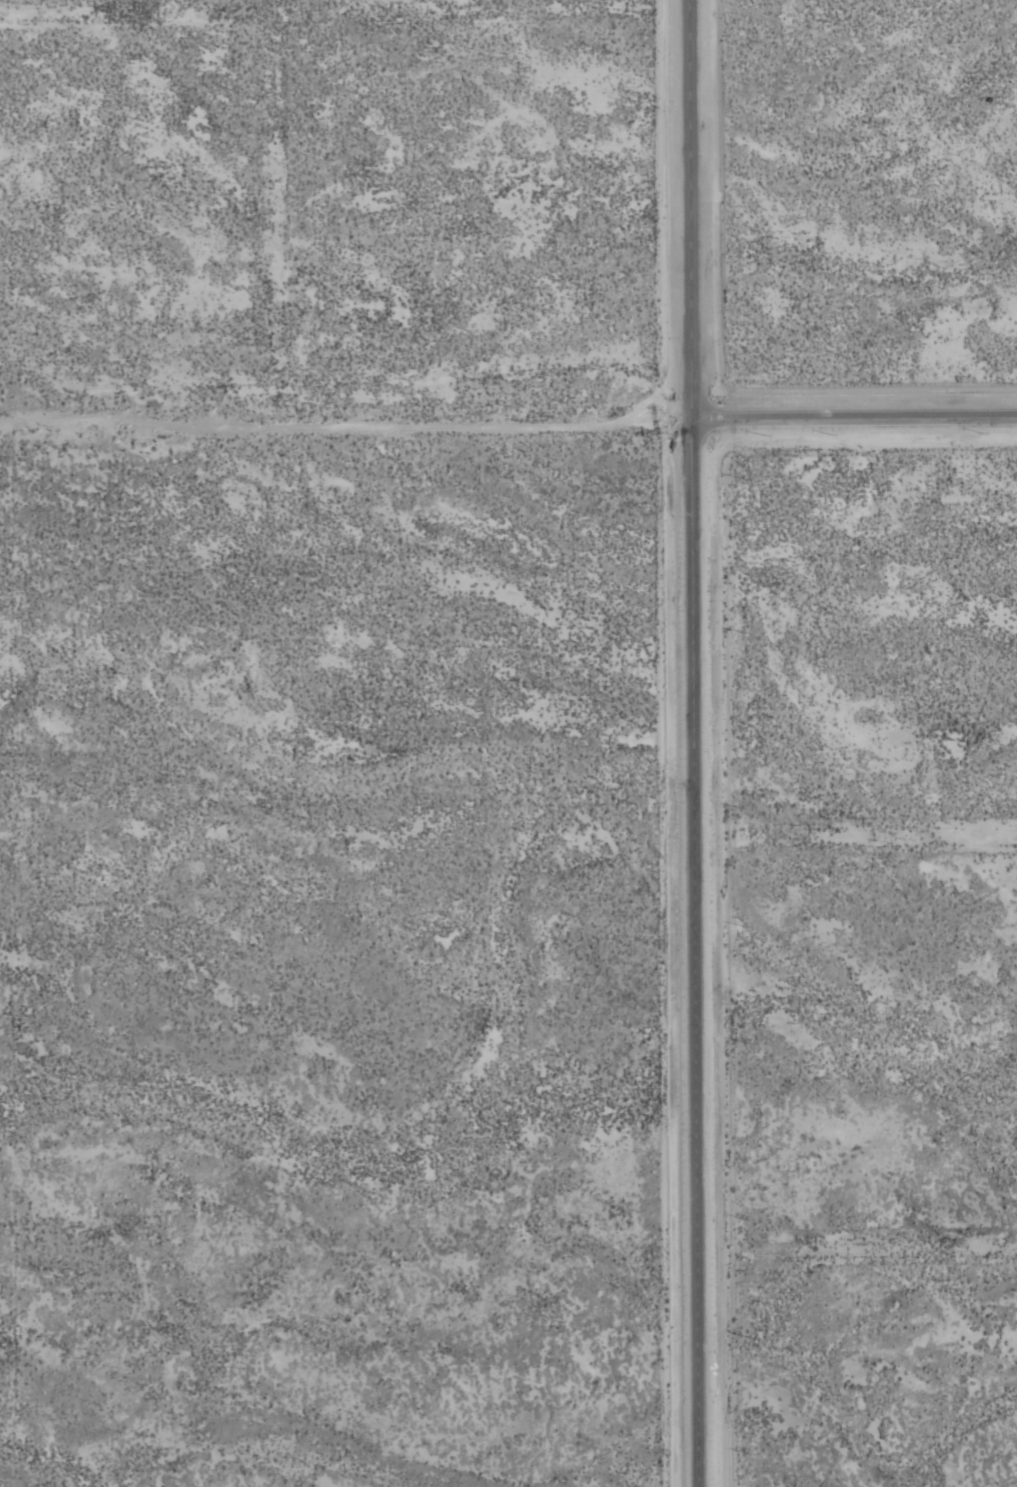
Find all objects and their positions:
road: (855, 418)
road: (347, 424)
road: (695, 743)

